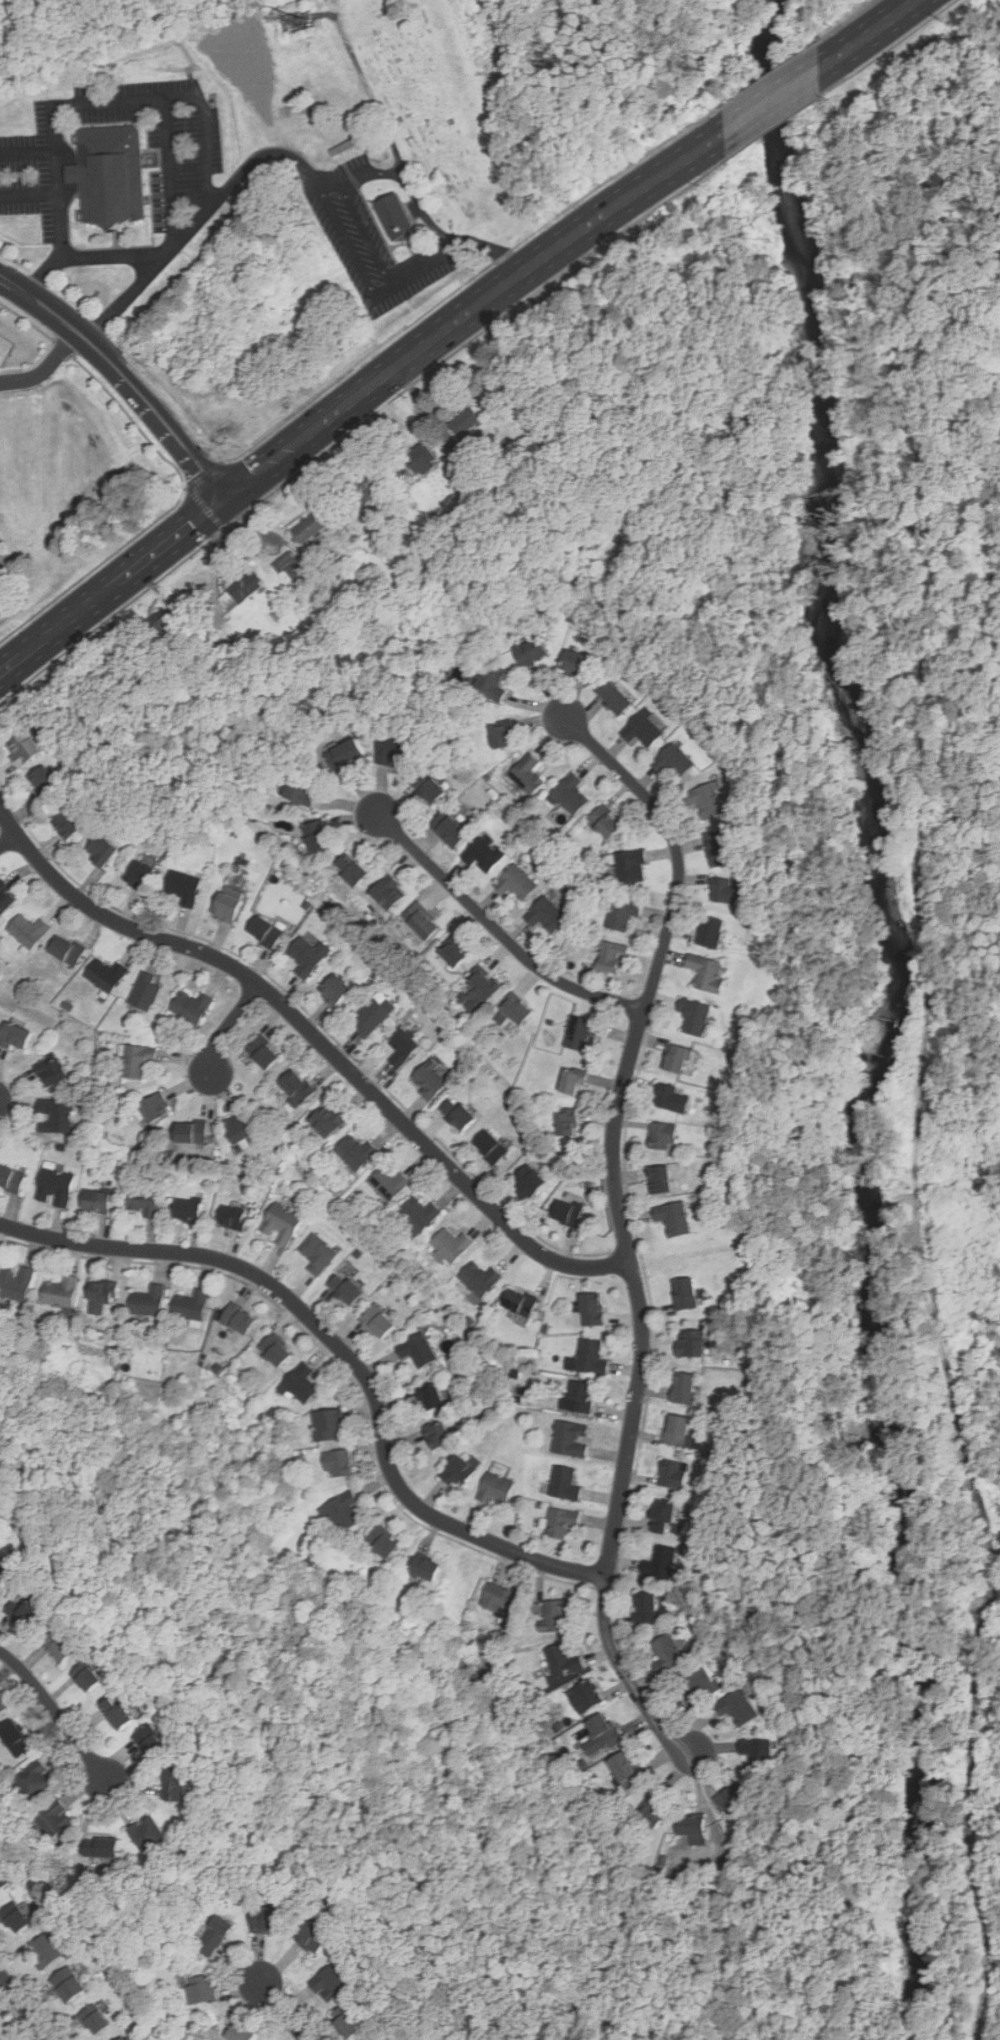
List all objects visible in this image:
road: (849, 20)
park: (825, 33)
road: (867, 35)
road: (889, 49)
road: (772, 73)
road: (164, 101)
road: (772, 102)
park: (442, 104)
road: (773, 127)
river: (776, 130)
road: (205, 138)
road: (30, 151)
parking lot: (192, 155)
road: (310, 171)
building: (116, 173)
road: (405, 173)
road: (31, 196)
road: (63, 204)
building: (403, 217)
road: (89, 255)
road: (461, 286)
road: (34, 296)
road: (27, 321)
road: (62, 347)
road: (43, 369)
road: (356, 395)
road: (154, 401)
road: (144, 410)
river: (822, 416)
building: (463, 424)
road: (359, 425)
building: (420, 459)
traffic signals: (198, 473)
traffic signals: (255, 474)
road: (205, 475)
building: (363, 489)
road: (204, 508)
road: (165, 512)
traffic signals: (192, 524)
building: (310, 526)
road: (224, 529)
building: (292, 567)
building: (241, 590)
building: (530, 651)
building: (575, 664)
building: (490, 681)
building: (614, 697)
building: (642, 729)
building: (500, 734)
building: (392, 747)
building: (22, 749)
building: (347, 755)
building: (673, 761)
building: (527, 774)
building: (46, 783)
building: (300, 786)
building: (427, 788)
building: (570, 794)
building: (706, 799)
building: (606, 821)
building: (67, 824)
building: (449, 829)
building: (316, 837)
road: (9, 839)
building: (718, 848)
building: (101, 850)
building: (485, 854)
building: (629, 865)
building: (350, 870)
building: (139, 875)
building: (516, 883)
building: (184, 887)
building: (725, 891)
building: (388, 893)
building: (7, 896)
building: (226, 907)
building: (621, 912)
building: (546, 914)
building: (421, 922)
road: (499, 929)
building: (28, 930)
building: (264, 930)
building: (710, 931)
building: (66, 949)
building: (453, 952)
building: (307, 955)
building: (611, 955)
building: (705, 972)
building: (106, 974)
building: (334, 989)
building: (144, 991)
building: (481, 991)
building: (191, 1006)
building: (513, 1011)
building: (372, 1015)
building: (694, 1016)
road: (227, 1026)
building: (579, 1032)
building: (15, 1036)
road: (318, 1038)
building: (402, 1047)
building: (263, 1052)
building: (676, 1058)
building: (136, 1060)
building: (52, 1072)
building: (430, 1079)
building: (572, 1081)
river: (868, 1084)
building: (296, 1088)
building: (670, 1098)
building: (155, 1107)
building: (457, 1114)
building: (55, 1116)
building: (326, 1120)
building: (565, 1122)
building: (238, 1128)
building: (190, 1131)
building: (662, 1136)
building: (490, 1147)
building: (355, 1152)
building: (11, 1179)
building: (659, 1180)
building: (528, 1181)
building: (388, 1184)
building: (55, 1186)
building: (144, 1200)
building: (96, 1201)
building: (186, 1210)
building: (419, 1213)
building: (566, 1213)
building: (233, 1218)
building: (672, 1218)
building: (281, 1225)
road: (623, 1227)
building: (449, 1245)
building: (318, 1253)
building: (480, 1279)
building: (16, 1283)
building: (344, 1289)
building: (61, 1292)
building: (684, 1294)
building: (101, 1295)
building: (149, 1301)
building: (519, 1302)
building: (191, 1305)
building: (591, 1309)
building: (238, 1318)
building: (377, 1322)
building: (690, 1343)
building: (275, 1350)
road: (344, 1350)
building: (417, 1350)
building: (590, 1358)
building: (301, 1384)
building: (683, 1389)
building: (432, 1398)
building: (580, 1398)
building: (329, 1426)
building: (676, 1430)
building: (437, 1436)
building: (570, 1440)
building: (338, 1464)
building: (456, 1472)
building: (671, 1474)
building: (564, 1483)
building: (495, 1488)
building: (341, 1512)
building: (662, 1517)
building: (560, 1523)
building: (381, 1543)
building: (659, 1563)
building: (424, 1569)
building: (1, 1585)
building: (496, 1597)
building: (646, 1609)
building: (24, 1613)
building: (555, 1616)
building: (58, 1648)
building: (667, 1654)
building: (563, 1662)
building: (86, 1678)
building: (700, 1685)
building: (584, 1697)
building: (2, 1706)
building: (737, 1708)
road: (58, 1712)
building: (117, 1713)
building: (99, 1715)
building: (604, 1731)
building: (14, 1739)
building: (150, 1742)
building: (757, 1753)
building: (626, 1769)
building: (34, 1780)
building: (173, 1789)
building: (732, 1797)
building: (651, 1814)
building: (55, 1819)
river: (919, 1821)
building: (690, 1826)
building: (147, 1834)
building: (104, 1848)
building: (3, 1879)
building: (15, 1918)
building: (268, 1921)
building: (214, 1936)
building: (312, 1939)
building: (46, 1950)
building: (69, 1983)
building: (329, 1984)
building: (200, 1989)
road: (25, 2006)
road: (281, 2012)
building: (93, 2020)
building: (348, 2025)
building: (238, 2033)
building: (0, 2034)
building: (0, 2039)
building: (124, 2039)
building: (368, 2039)

